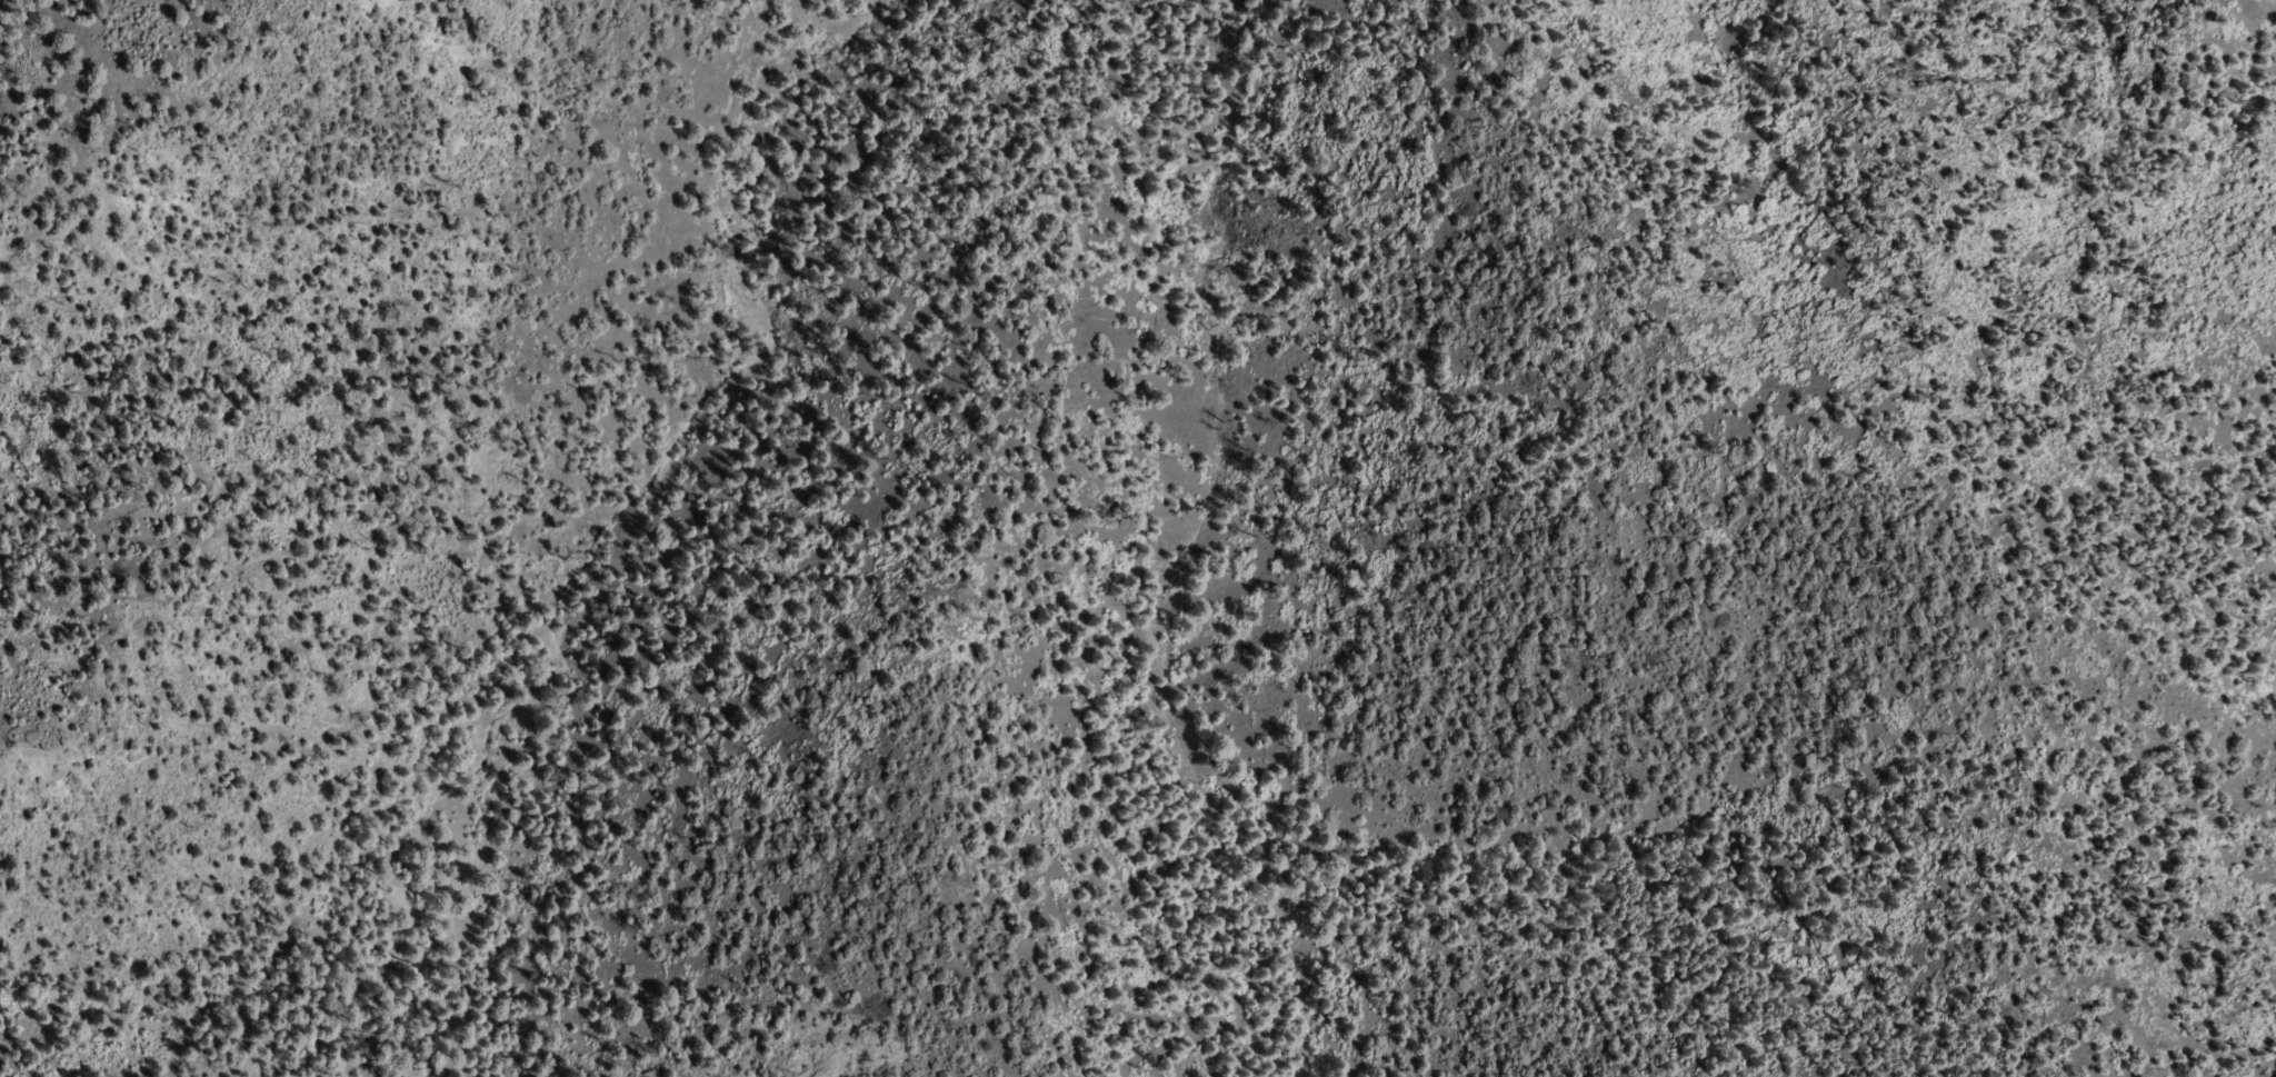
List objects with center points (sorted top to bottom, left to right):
road: (537, 541)

